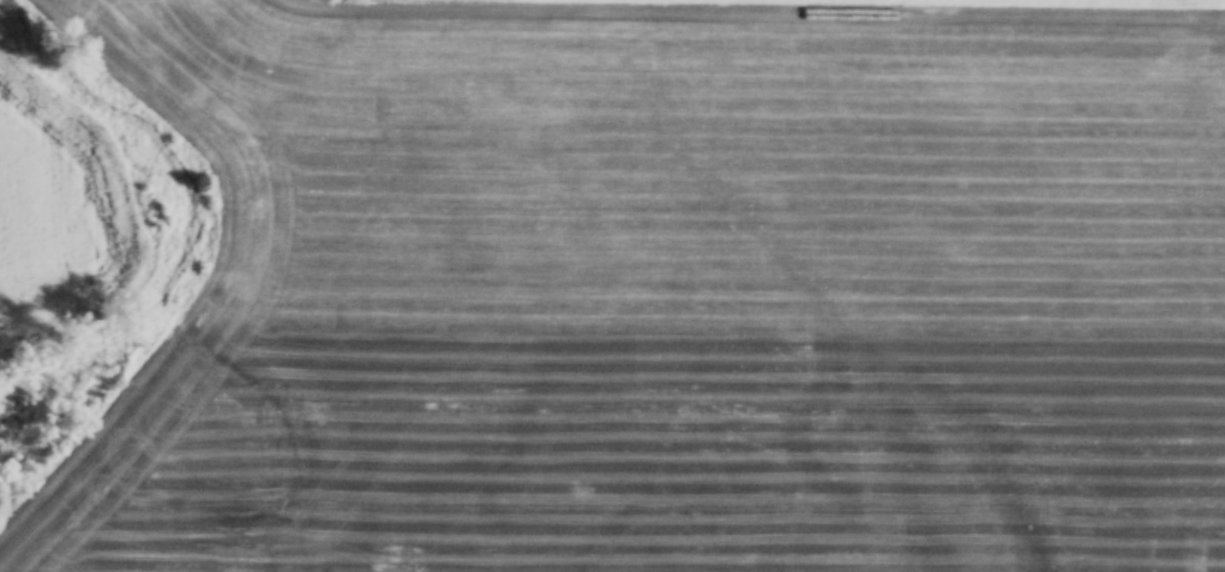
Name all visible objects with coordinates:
river: (40, 380)

